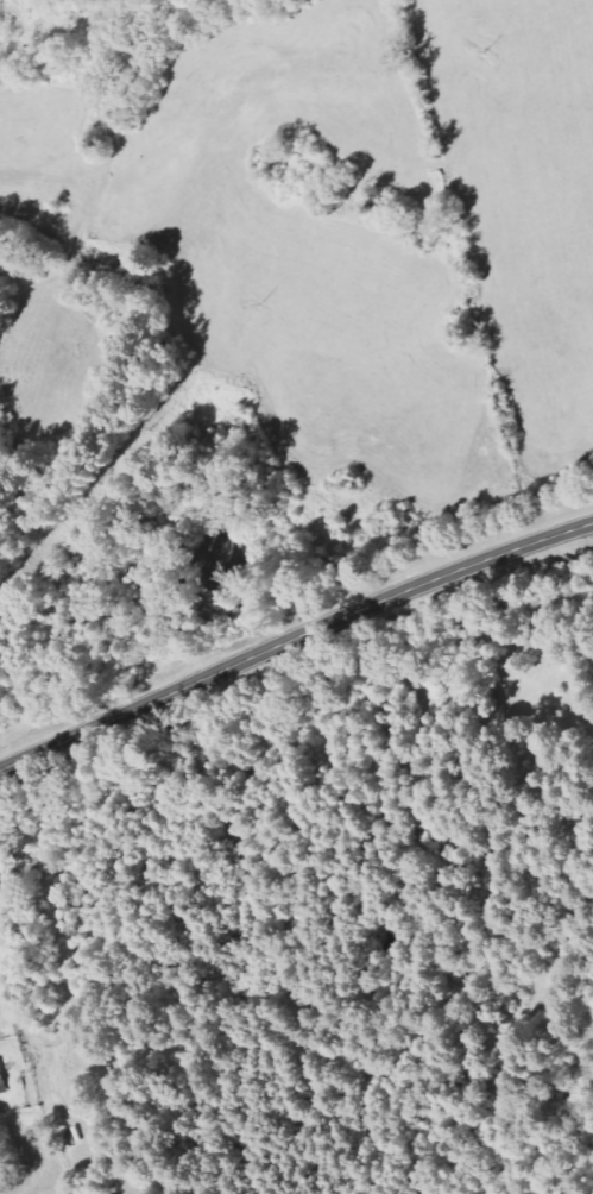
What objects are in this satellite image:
road: (292, 635)
building: (4, 1079)

